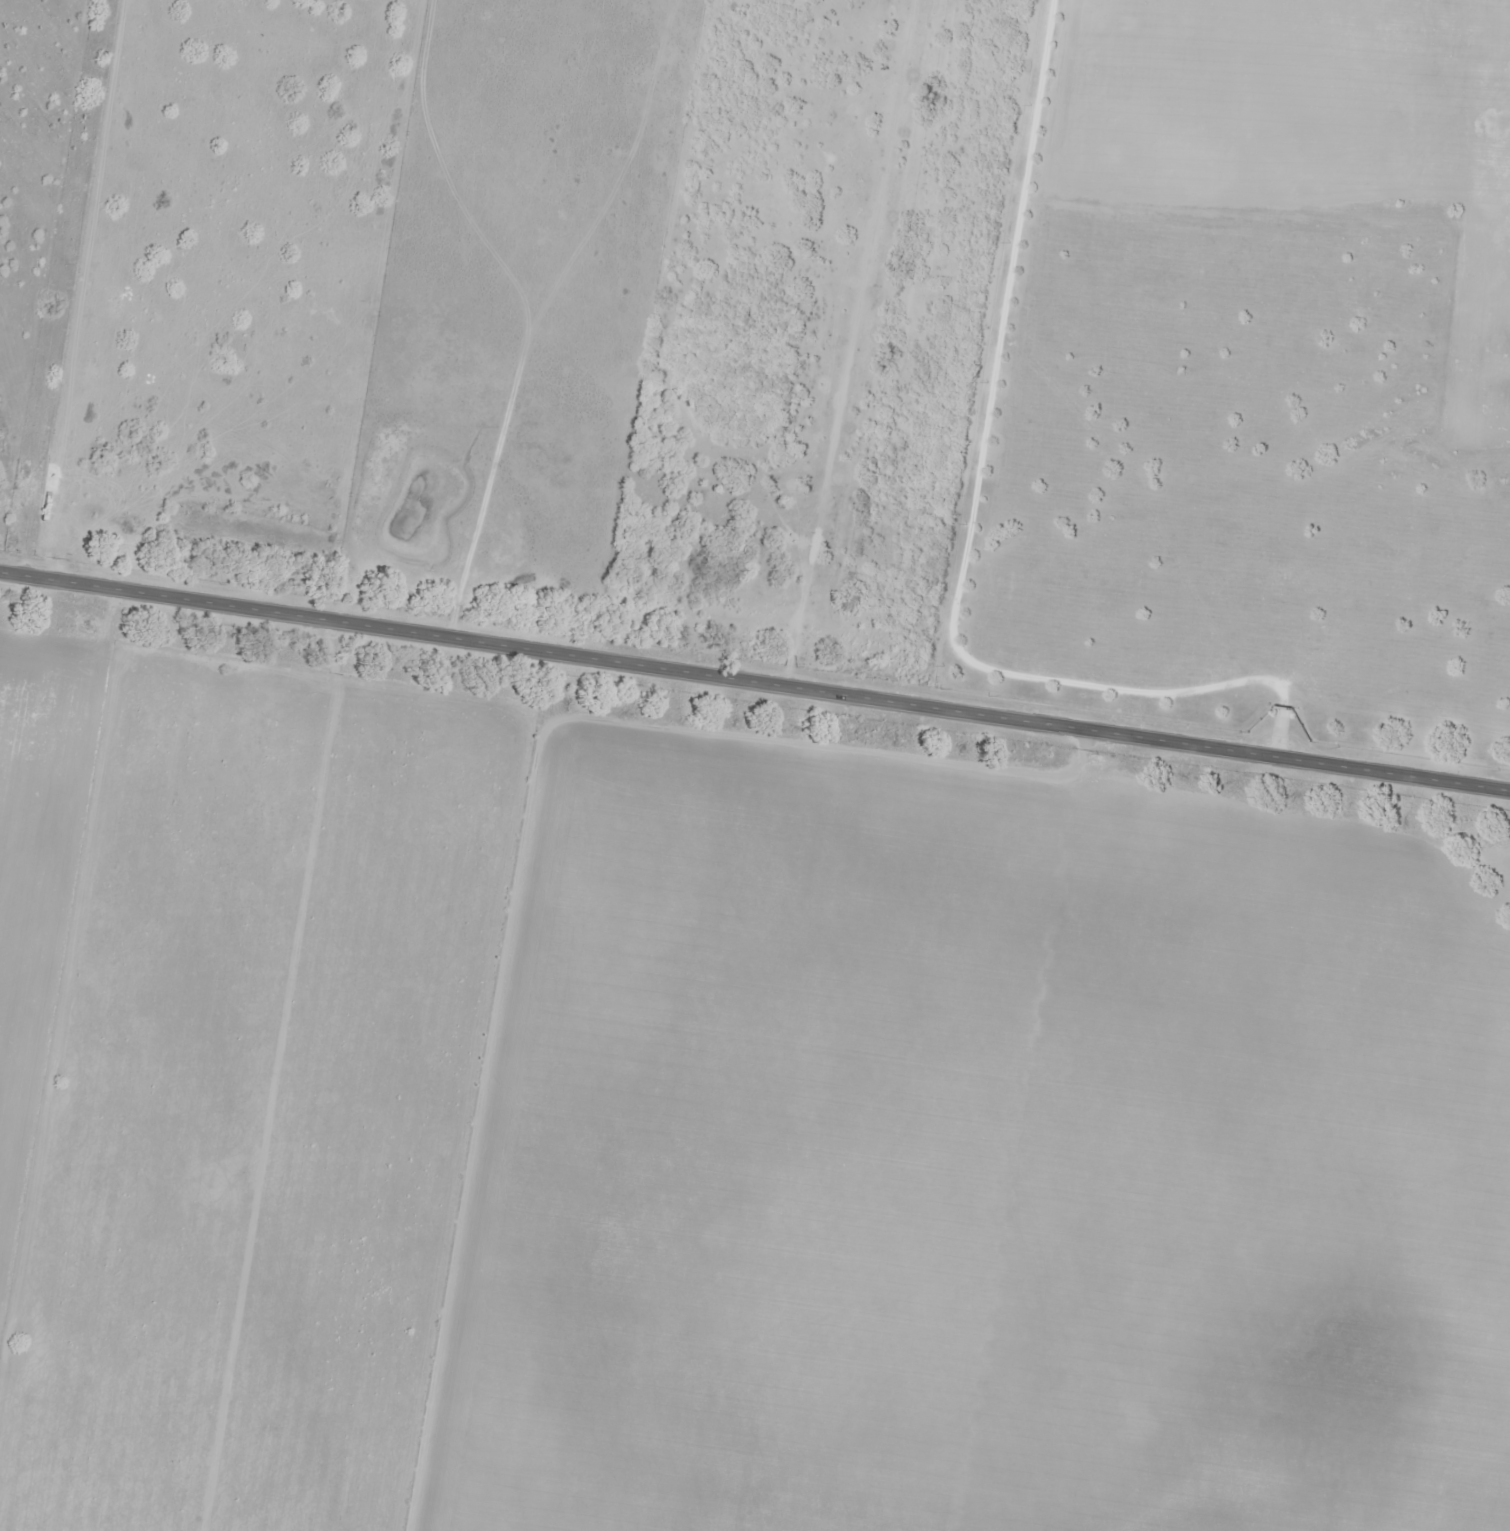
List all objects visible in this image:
road: (755, 683)

